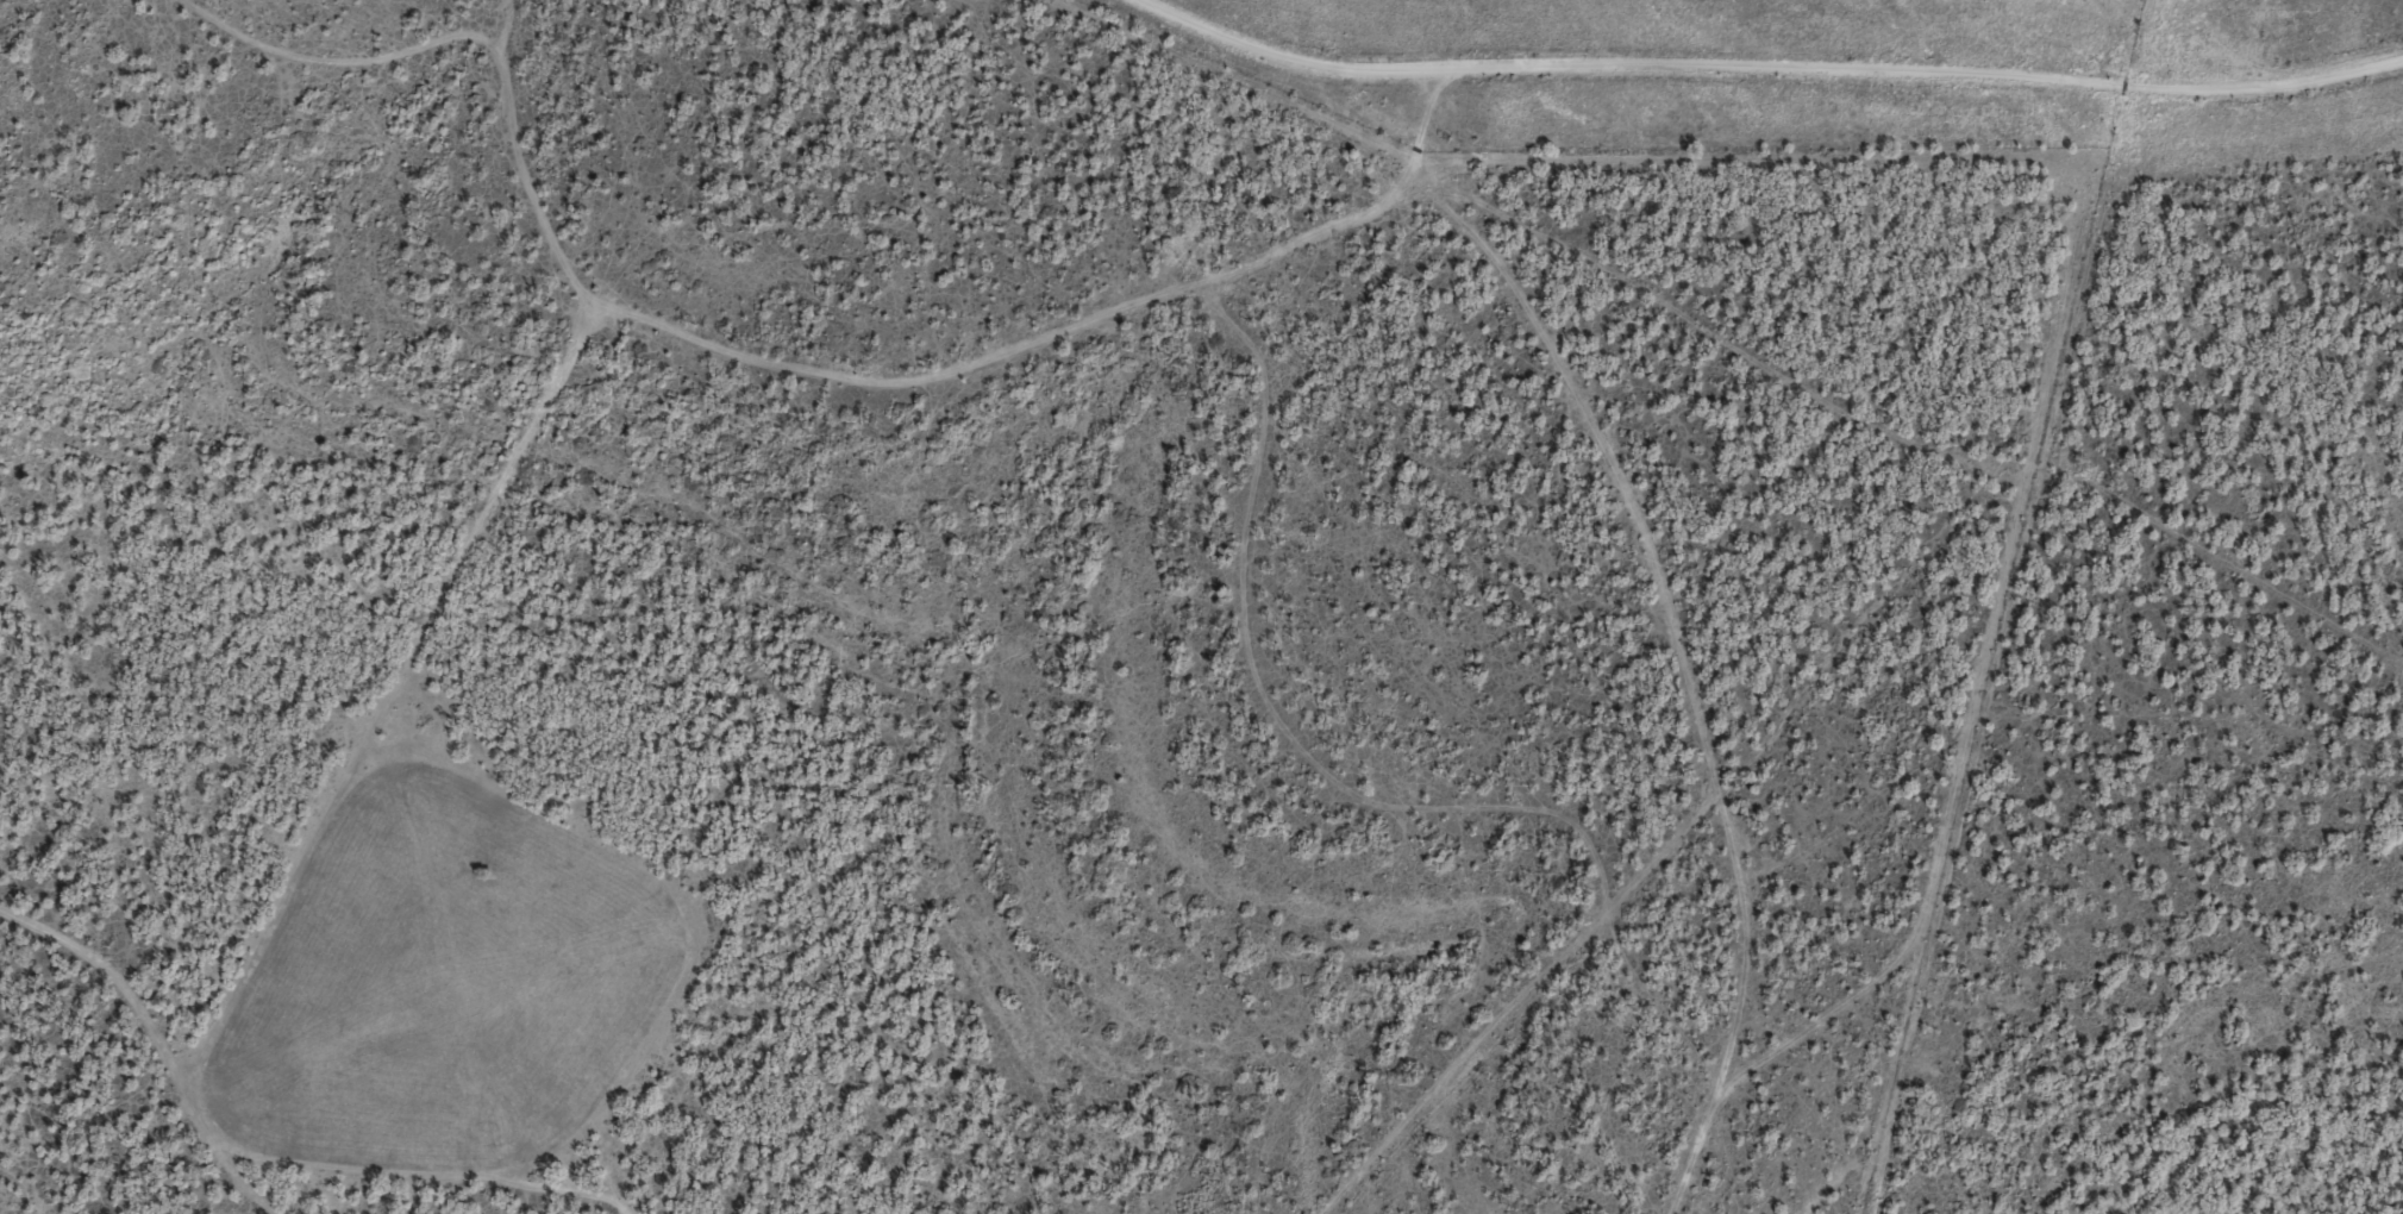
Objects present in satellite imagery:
road: (1883, 71)
road: (1658, 511)
road: (271, 1143)

